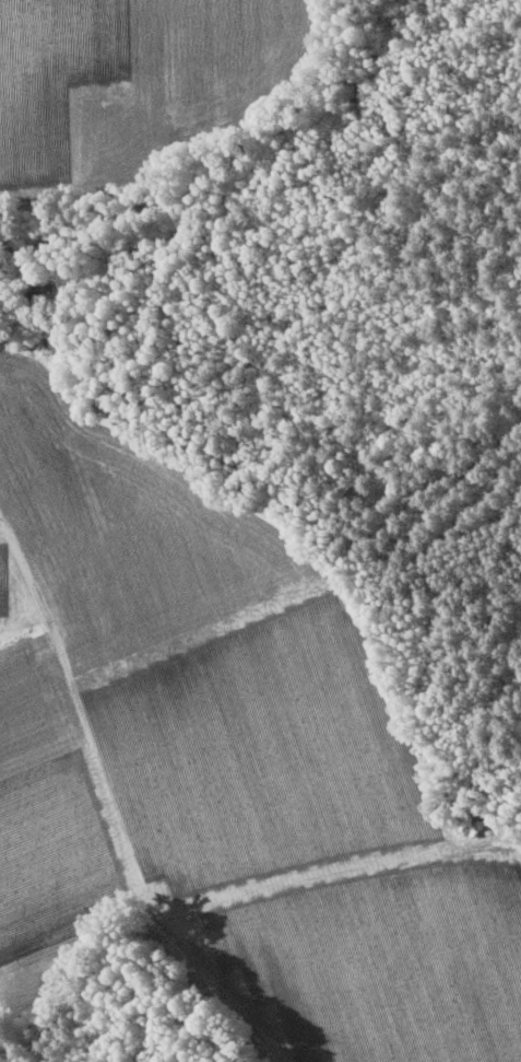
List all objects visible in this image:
crop: (144, 84)
crop: (206, 650)
road: (116, 812)
crop: (48, 827)
road: (335, 866)
crop: (382, 962)

